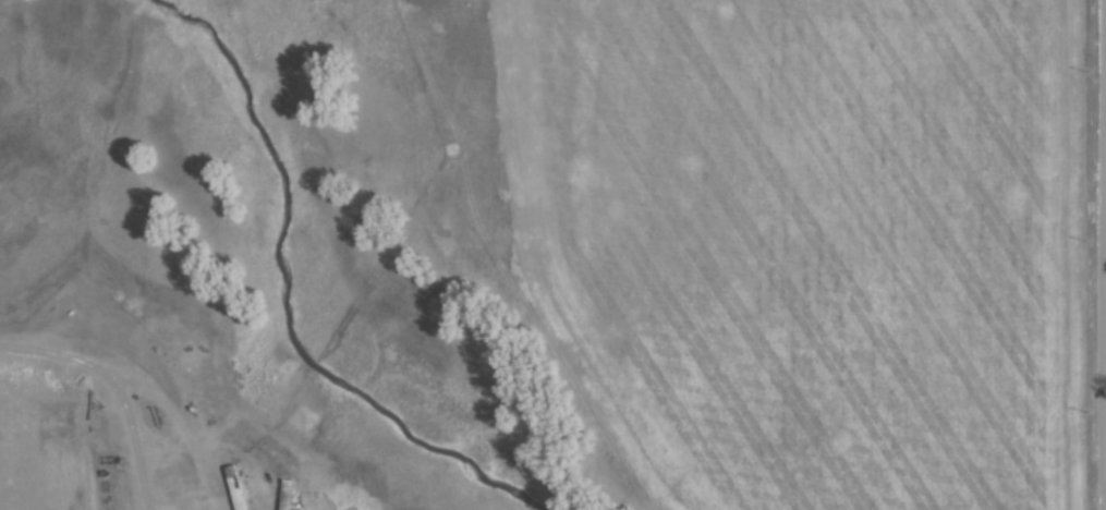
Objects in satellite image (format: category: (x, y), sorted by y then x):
crop: (813, 242)
crop: (78, 427)
building: (238, 487)
building: (287, 494)

